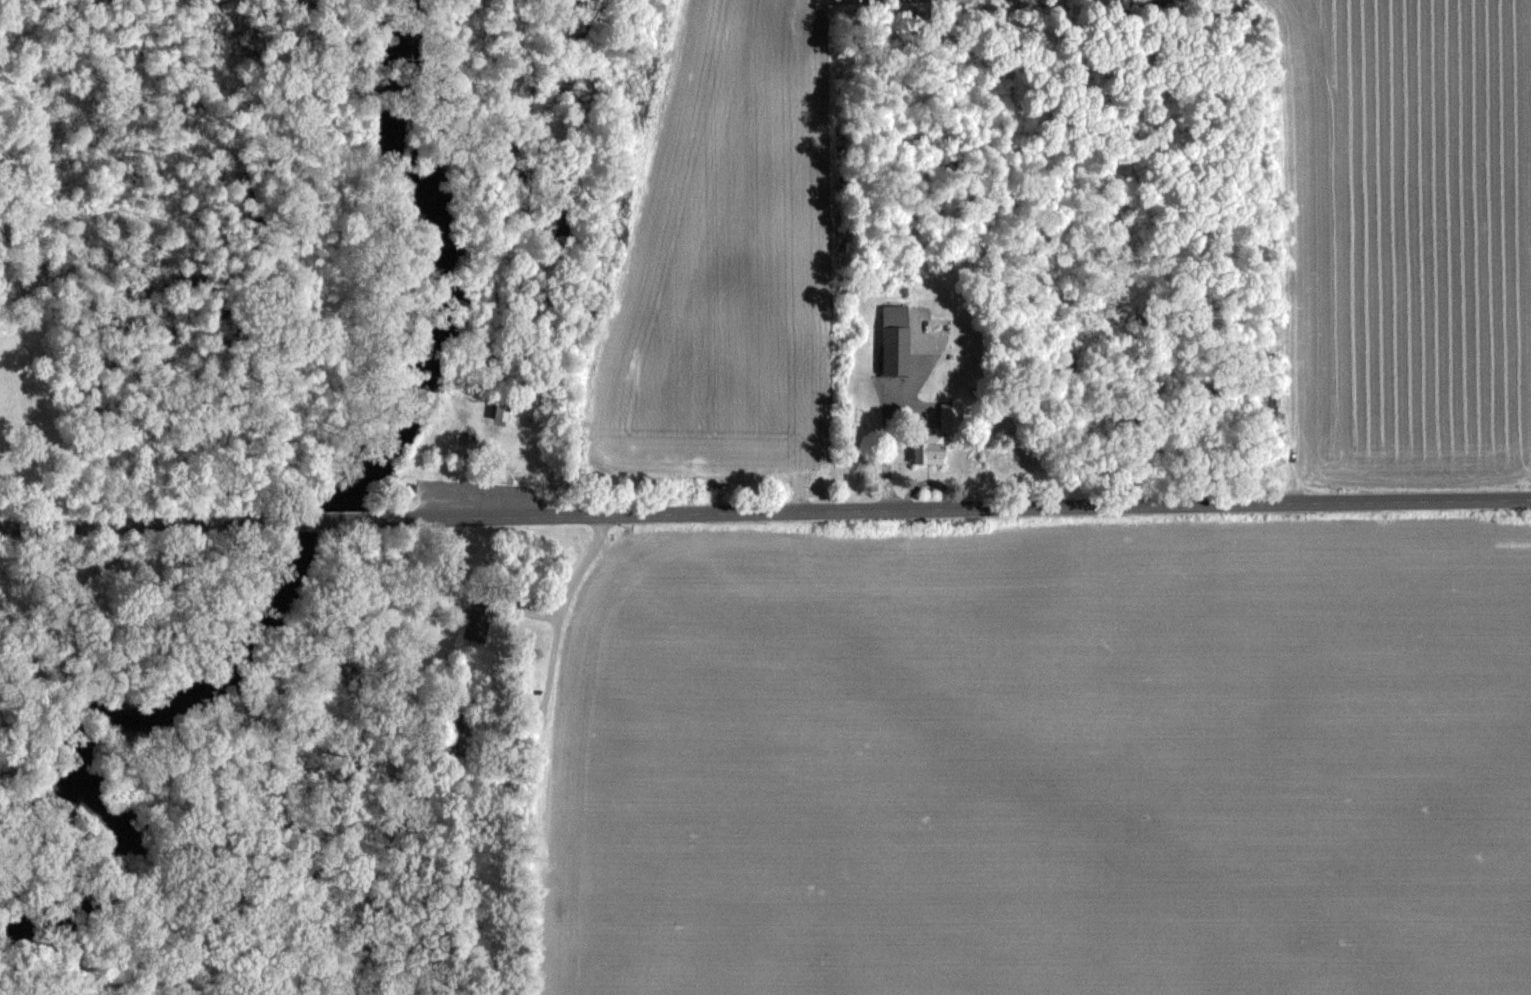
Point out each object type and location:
crop: (1408, 243)
crop: (724, 253)
building: (888, 339)
building: (495, 408)
building: (932, 435)
road: (886, 448)
road: (955, 507)
road: (327, 521)
road: (137, 525)
road: (556, 613)
crop: (1047, 761)

